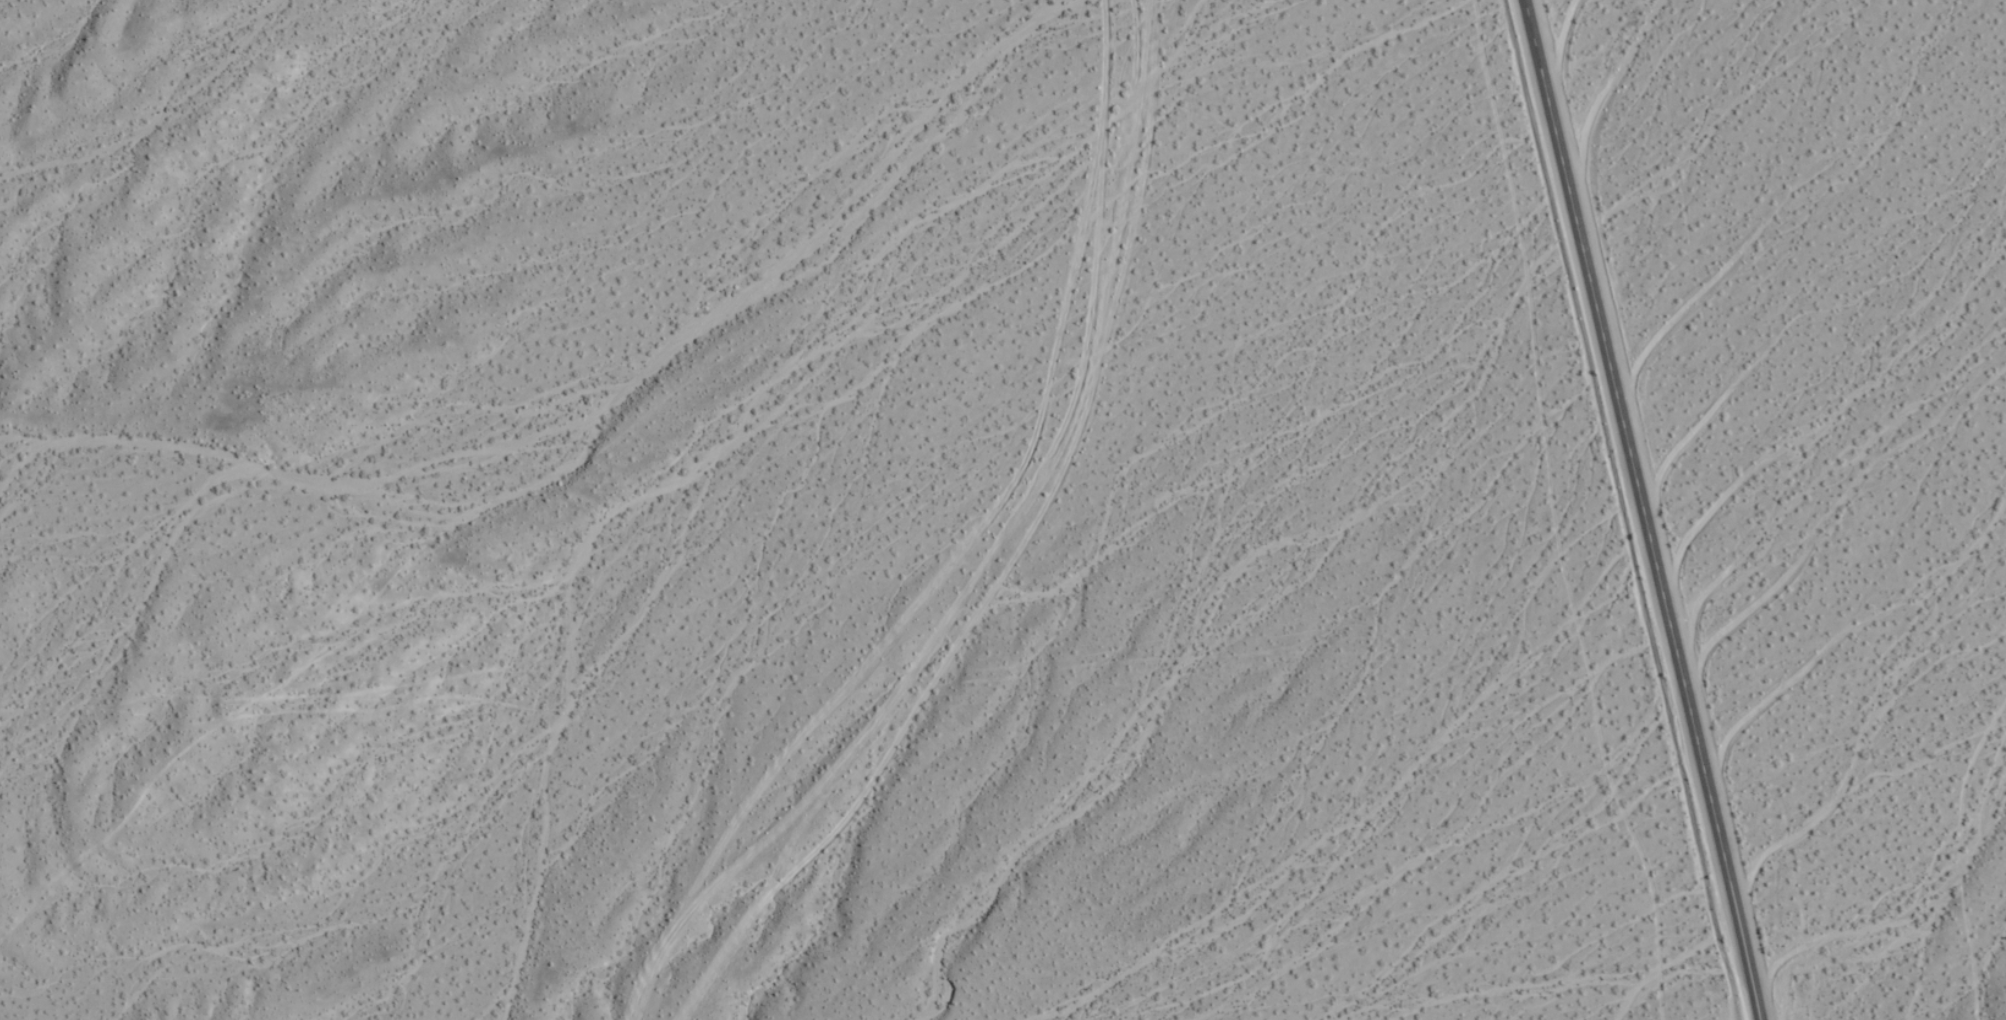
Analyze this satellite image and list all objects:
road: (1641, 510)

